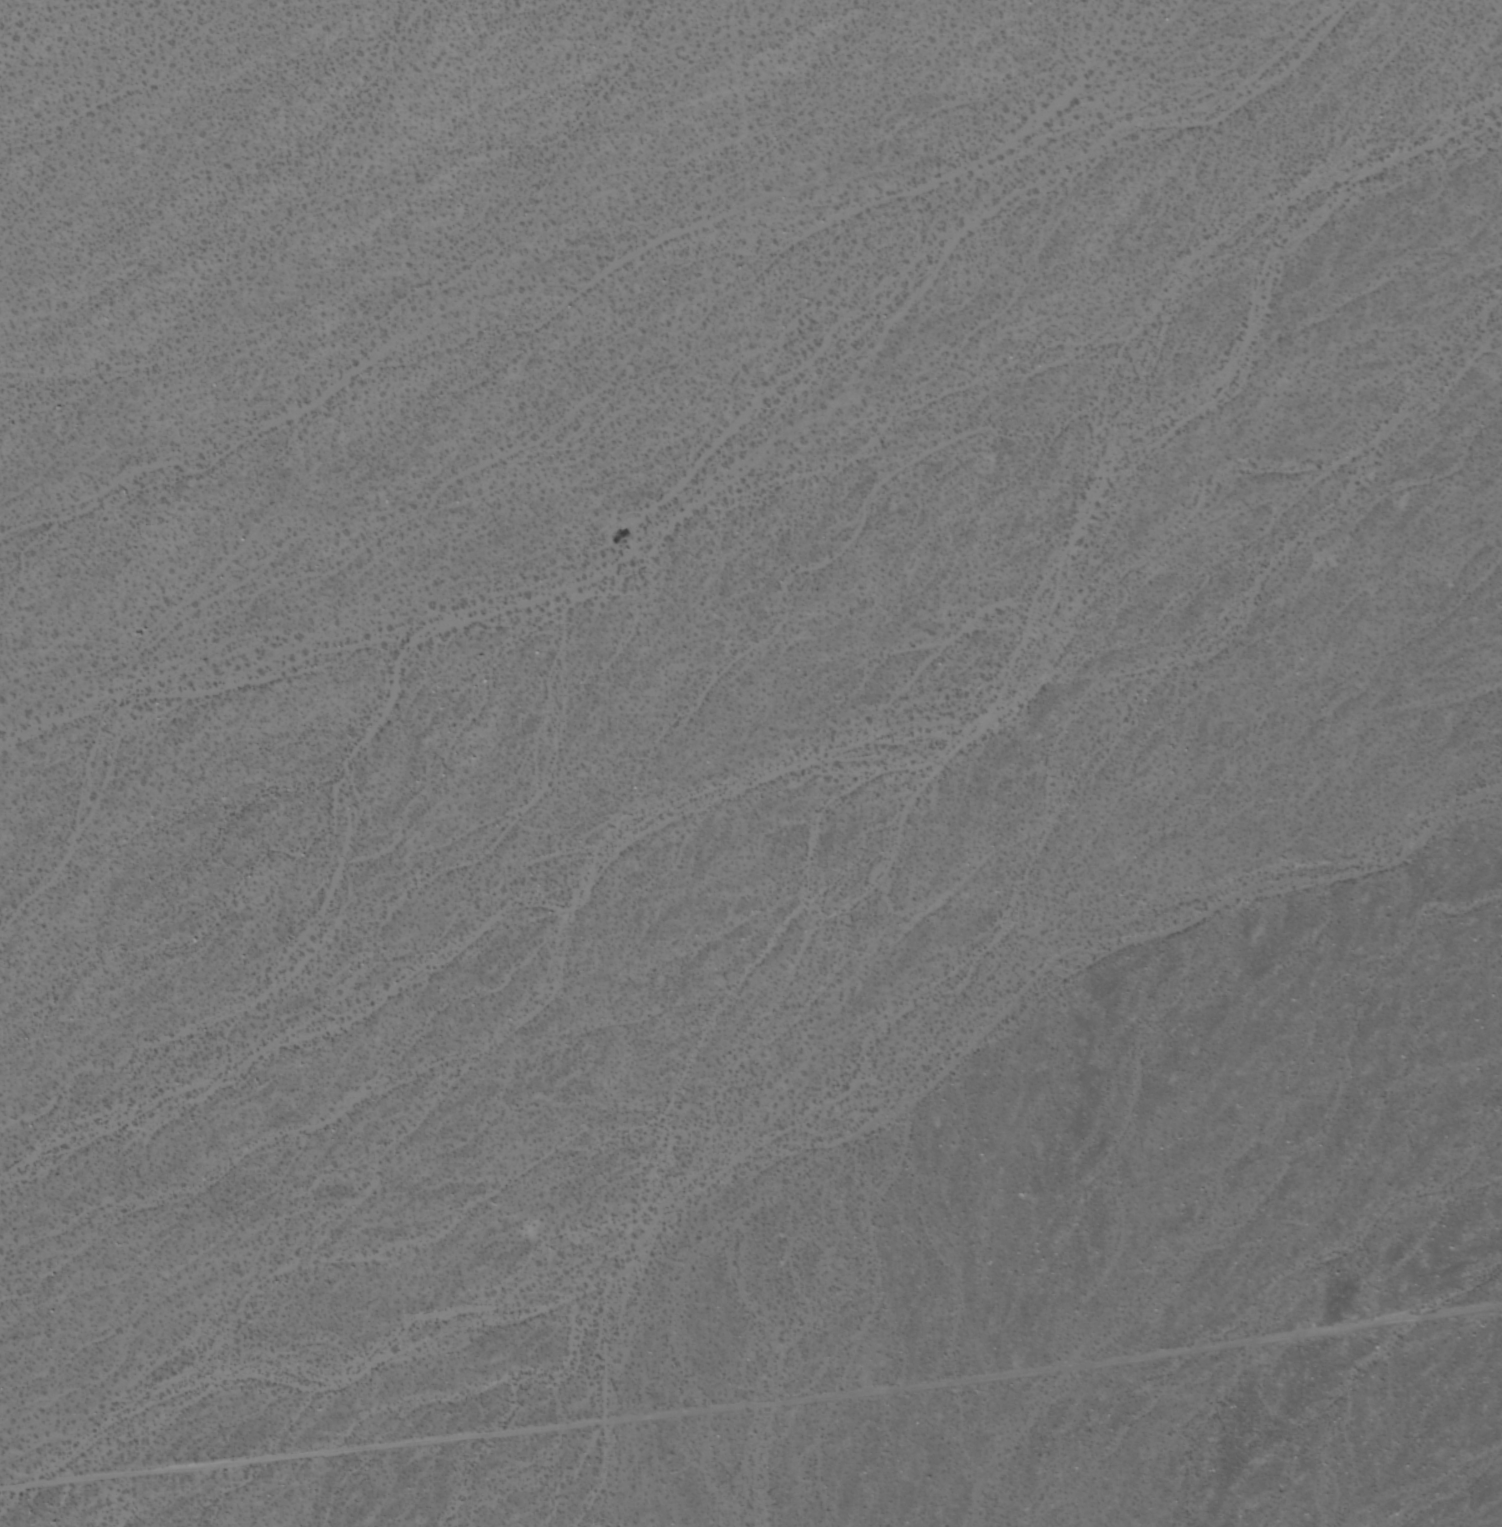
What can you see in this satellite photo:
road: (751, 1403)

